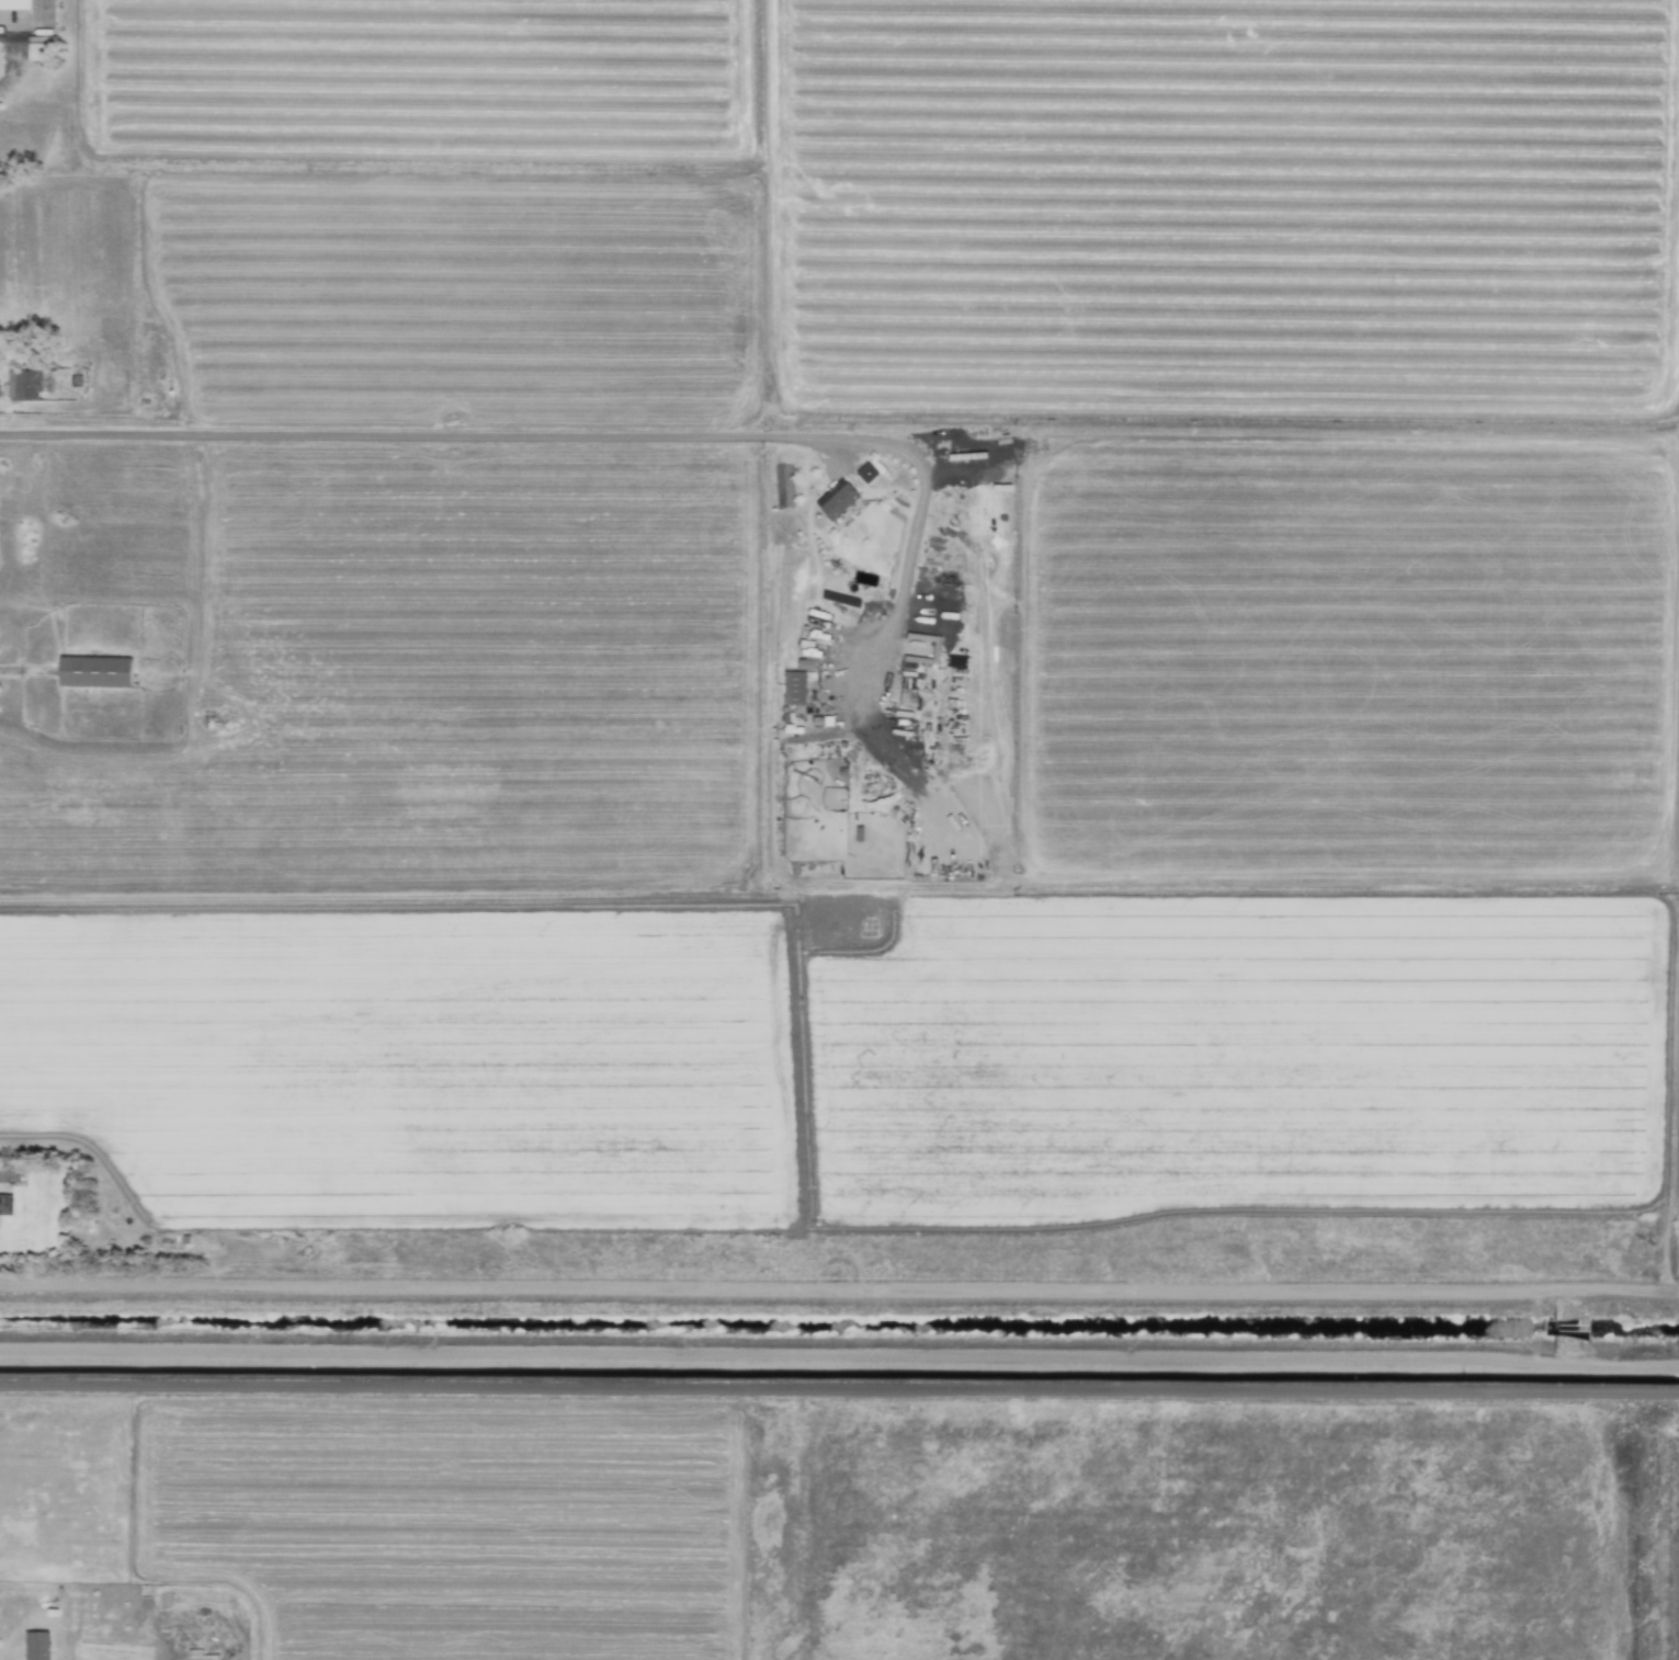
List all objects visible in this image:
building: (14, 3)
road: (3, 36)
building: (25, 386)
road: (571, 436)
building: (865, 473)
building: (838, 502)
road: (25, 671)
building: (93, 672)
building: (793, 687)
road: (14, 1183)
building: (5, 1205)
road: (839, 1296)
road: (839, 1367)
road: (839, 1386)
building: (33, 1645)

